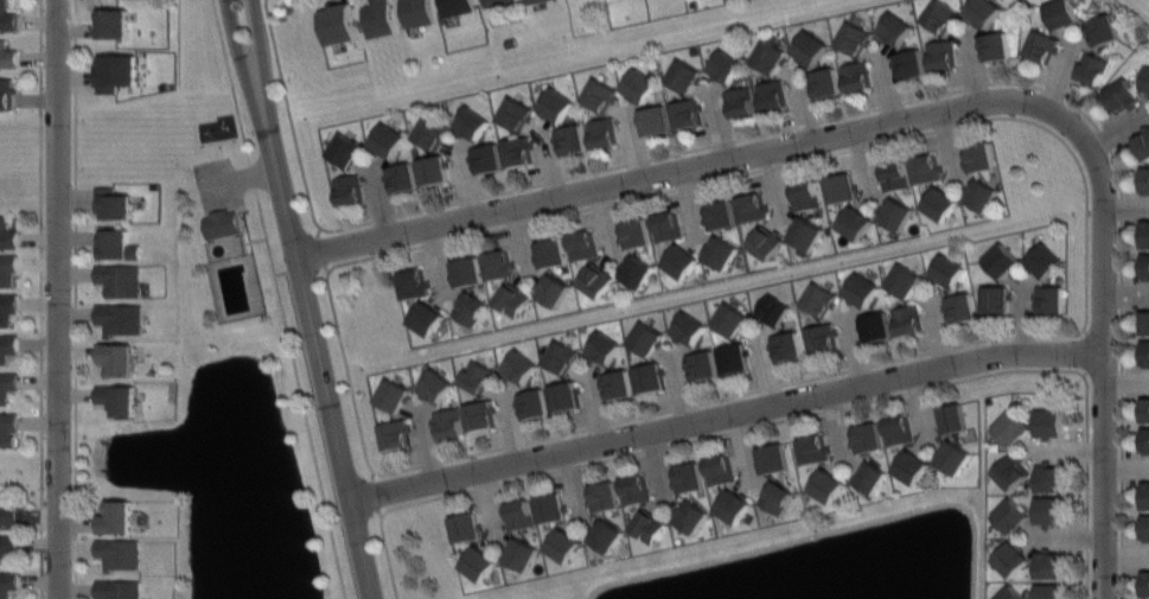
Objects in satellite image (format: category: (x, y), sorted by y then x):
building: (534, 1)
building: (496, 2)
building: (457, 6)
building: (984, 11)
building: (419, 13)
building: (1062, 13)
building: (943, 15)
building: (7, 17)
building: (378, 18)
building: (114, 23)
building: (339, 24)
building: (895, 27)
building: (1103, 30)
building: (854, 36)
building: (995, 45)
building: (810, 46)
building: (1041, 46)
building: (941, 52)
building: (8, 56)
building: (771, 56)
building: (908, 62)
building: (726, 65)
building: (1092, 68)
building: (116, 72)
building: (685, 75)
building: (857, 75)
building: (1145, 79)
building: (825, 81)
road: (230, 82)
building: (641, 84)
building: (7, 93)
building: (601, 93)
building: (772, 94)
building: (1122, 95)
building: (740, 102)
building: (556, 103)
building: (516, 111)
building: (687, 113)
road: (832, 116)
building: (656, 119)
building: (472, 122)
building: (432, 132)
building: (604, 132)
building: (572, 138)
building: (388, 140)
building: (1143, 144)
building: (346, 149)
building: (518, 151)
building: (979, 155)
building: (487, 157)
building: (926, 168)
building: (434, 170)
road: (683, 172)
road: (256, 173)
road: (250, 174)
building: (894, 174)
building: (402, 177)
building: (1145, 179)
road: (219, 183)
parking lot: (216, 184)
building: (842, 186)
building: (349, 189)
building: (982, 193)
building: (805, 195)
building: (114, 203)
building: (940, 203)
park: (235, 208)
building: (752, 208)
fountain: (426, 209)
building: (721, 214)
building: (898, 214)
building: (855, 222)
building: (222, 223)
building: (669, 227)
building: (638, 231)
building: (7, 232)
building: (808, 232)
building: (1145, 234)
road: (255, 240)
building: (116, 241)
building: (766, 242)
building: (583, 244)
building: (553, 251)
building: (722, 251)
building: (1002, 260)
building: (1045, 260)
building: (682, 261)
building: (499, 263)
building: (1145, 266)
building: (8, 268)
building: (947, 269)
building: (467, 270)
building: (638, 272)
building: (121, 278)
building: (596, 280)
building: (905, 280)
building: (414, 283)
building: (553, 289)
building: (862, 289)
road: (40, 299)
road: (60, 299)
road: (75, 299)
road: (307, 299)
building: (512, 299)
building: (819, 299)
building: (995, 299)
building: (1051, 299)
building: (962, 306)
building: (7, 307)
building: (471, 308)
building: (773, 310)
road: (1085, 312)
building: (120, 317)
building: (428, 318)
building: (730, 318)
building: (907, 318)
building: (1145, 321)
building: (875, 325)
building: (689, 327)
building: (823, 337)
building: (646, 339)
building: (8, 345)
building: (786, 345)
building: (604, 348)
road: (1104, 353)
building: (1145, 353)
building: (561, 356)
building: (115, 357)
building: (733, 358)
building: (702, 365)
building: (519, 367)
building: (475, 376)
building: (650, 377)
building: (618, 383)
building: (7, 384)
building: (435, 384)
road: (299, 391)
building: (392, 394)
building: (564, 395)
building: (119, 397)
building: (534, 402)
building: (1145, 407)
building: (480, 415)
road: (728, 416)
road: (798, 416)
building: (951, 418)
building: (1049, 421)
building: (449, 422)
building: (8, 428)
building: (1011, 428)
building: (898, 429)
building: (396, 434)
building: (866, 436)
building: (1145, 440)
building: (812, 448)
building: (773, 457)
building: (955, 457)
building: (911, 465)
building: (720, 469)
building: (1011, 472)
building: (869, 476)
building: (689, 477)
building: (1051, 477)
building: (826, 484)
building: (636, 489)
building: (1145, 495)
building: (604, 496)
building: (775, 497)
building: (733, 505)
building: (551, 506)
building: (8, 509)
building: (1051, 509)
building: (519, 514)
building: (1011, 515)
building: (690, 516)
building: (116, 517)
building: (466, 525)
building: (649, 525)
building: (1145, 527)
building: (608, 535)
building: (8, 544)
building: (564, 544)
building: (121, 553)
building: (522, 554)
building: (1011, 559)
building: (479, 562)
building: (1049, 563)
building: (8, 584)
building: (1145, 584)
building: (119, 588)
building: (1051, 591)
building: (1010, 593)

